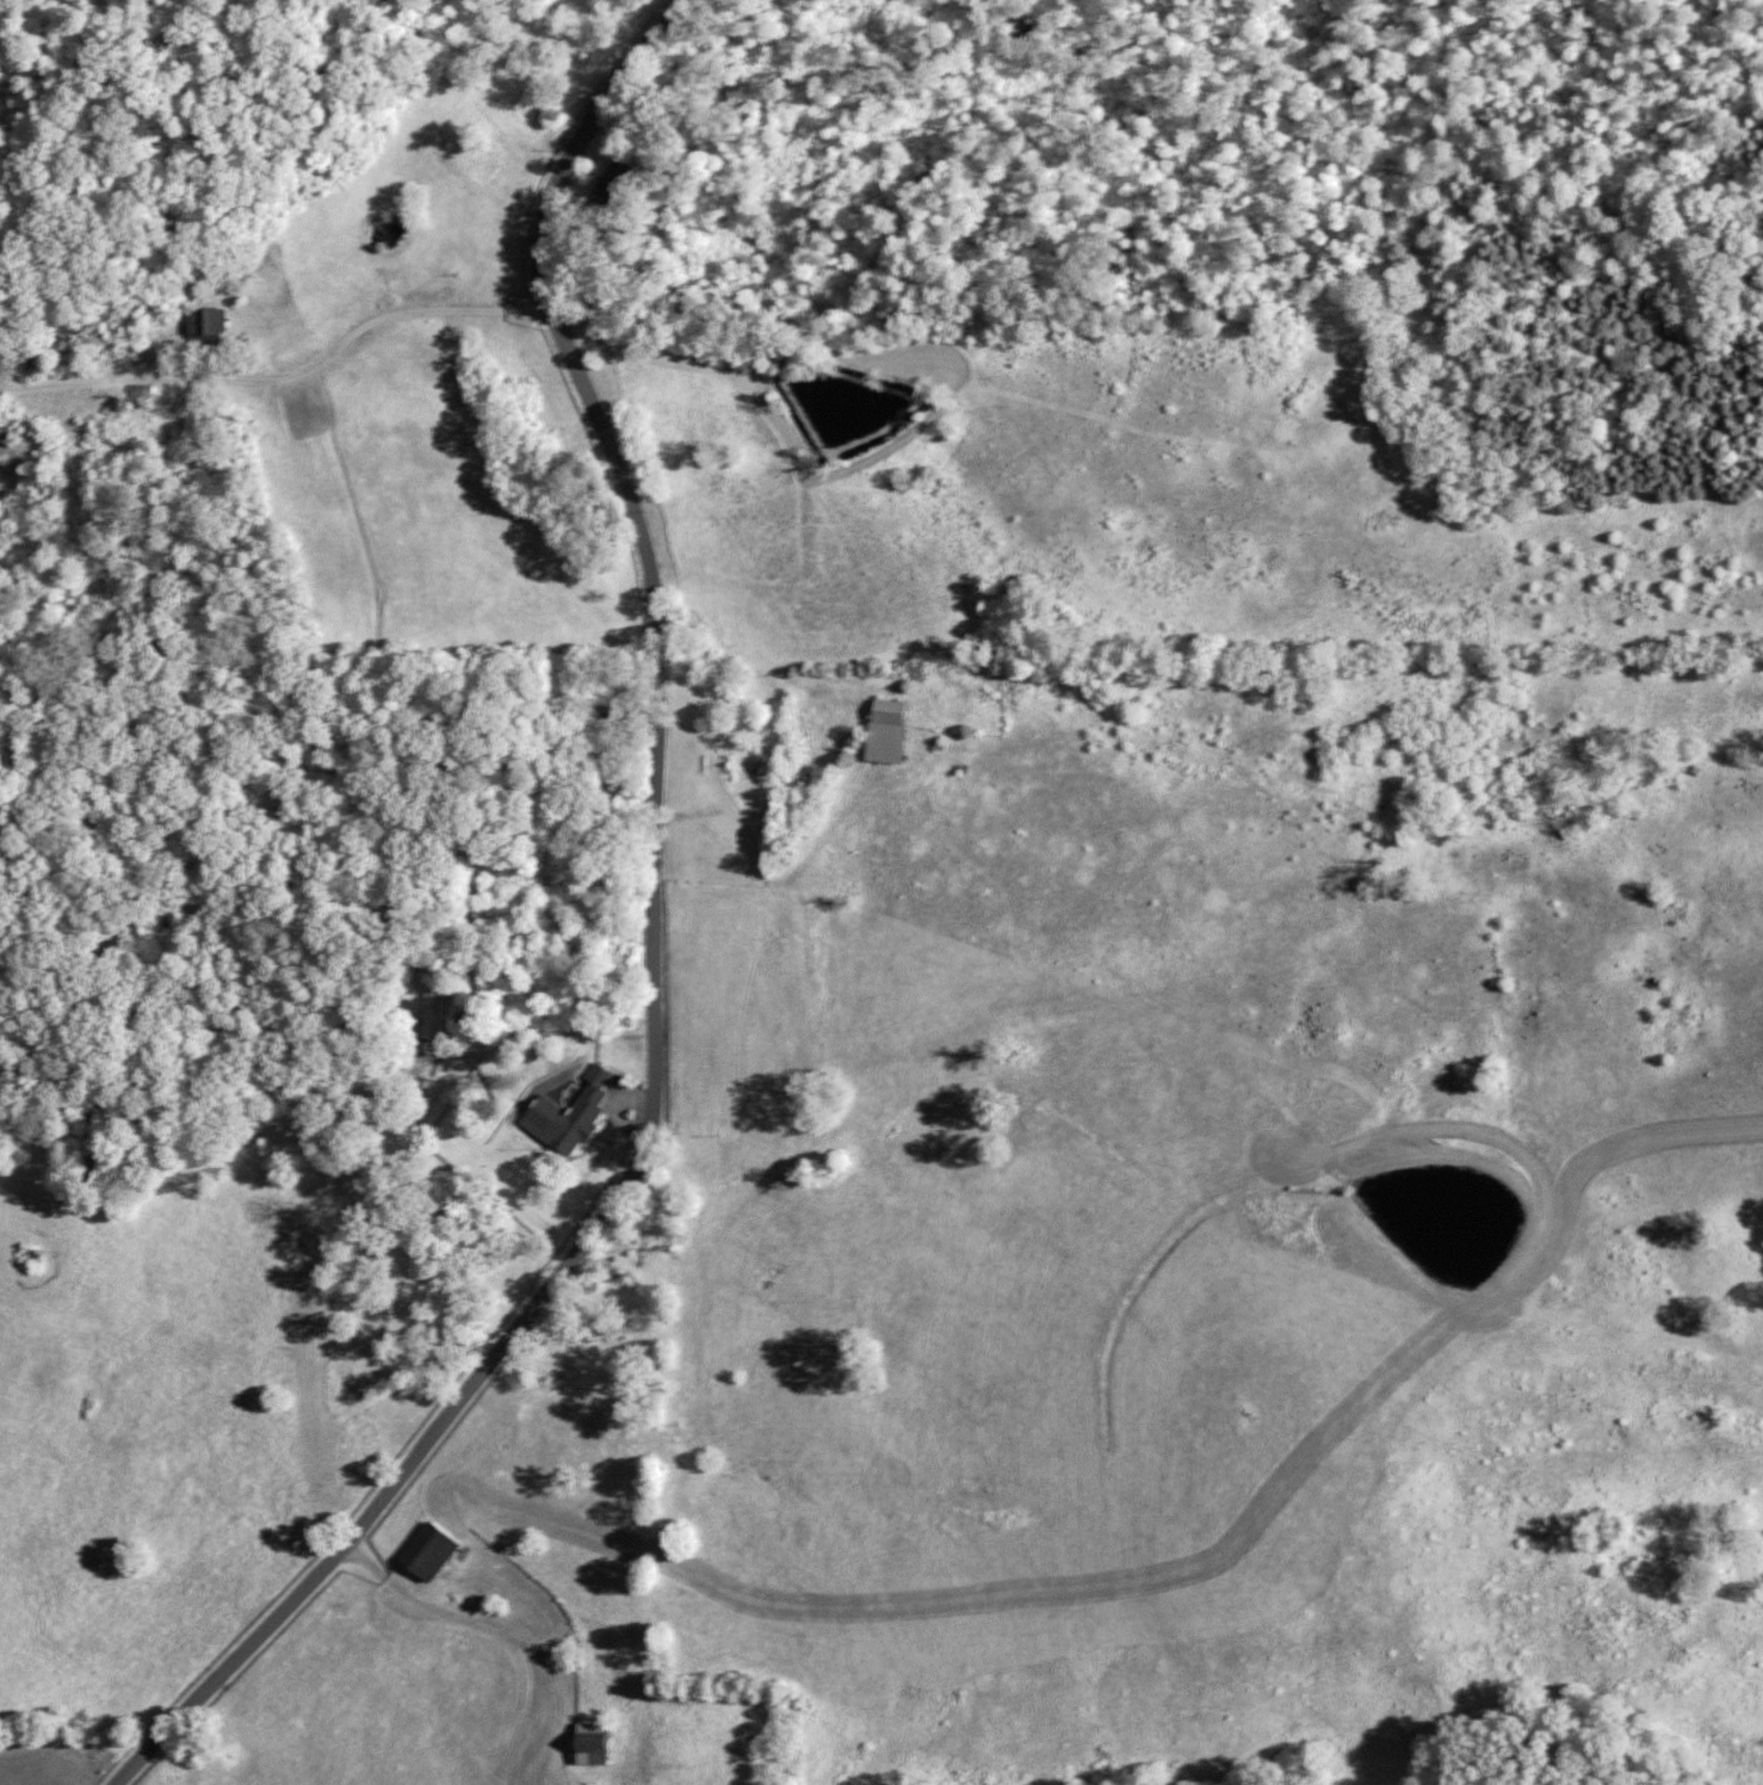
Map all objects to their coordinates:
building: (203, 321)
road: (278, 342)
road: (581, 369)
road: (1077, 685)
building: (884, 711)
building: (431, 1011)
building: (565, 1112)
road: (512, 1333)
building: (426, 1550)
road: (521, 1582)
building: (588, 1742)

